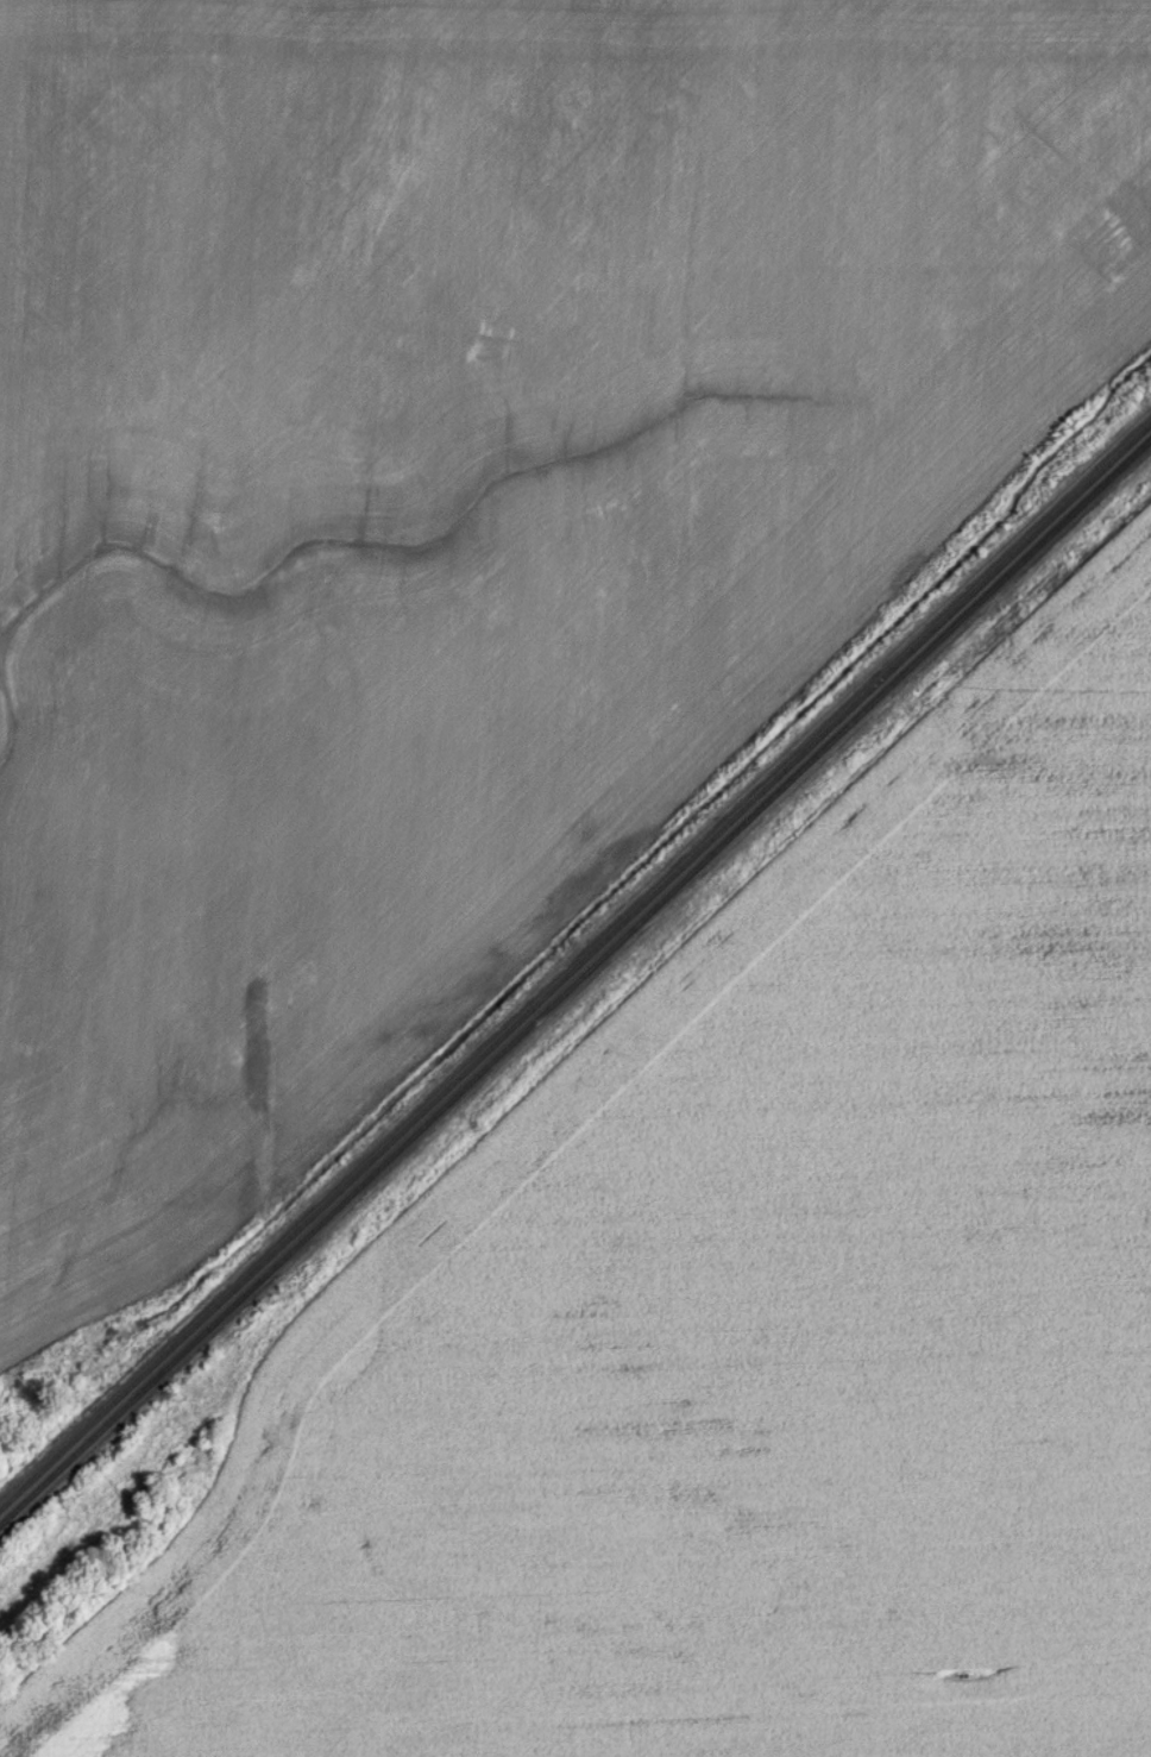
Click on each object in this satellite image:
railway: (575, 968)
railway: (573, 980)

